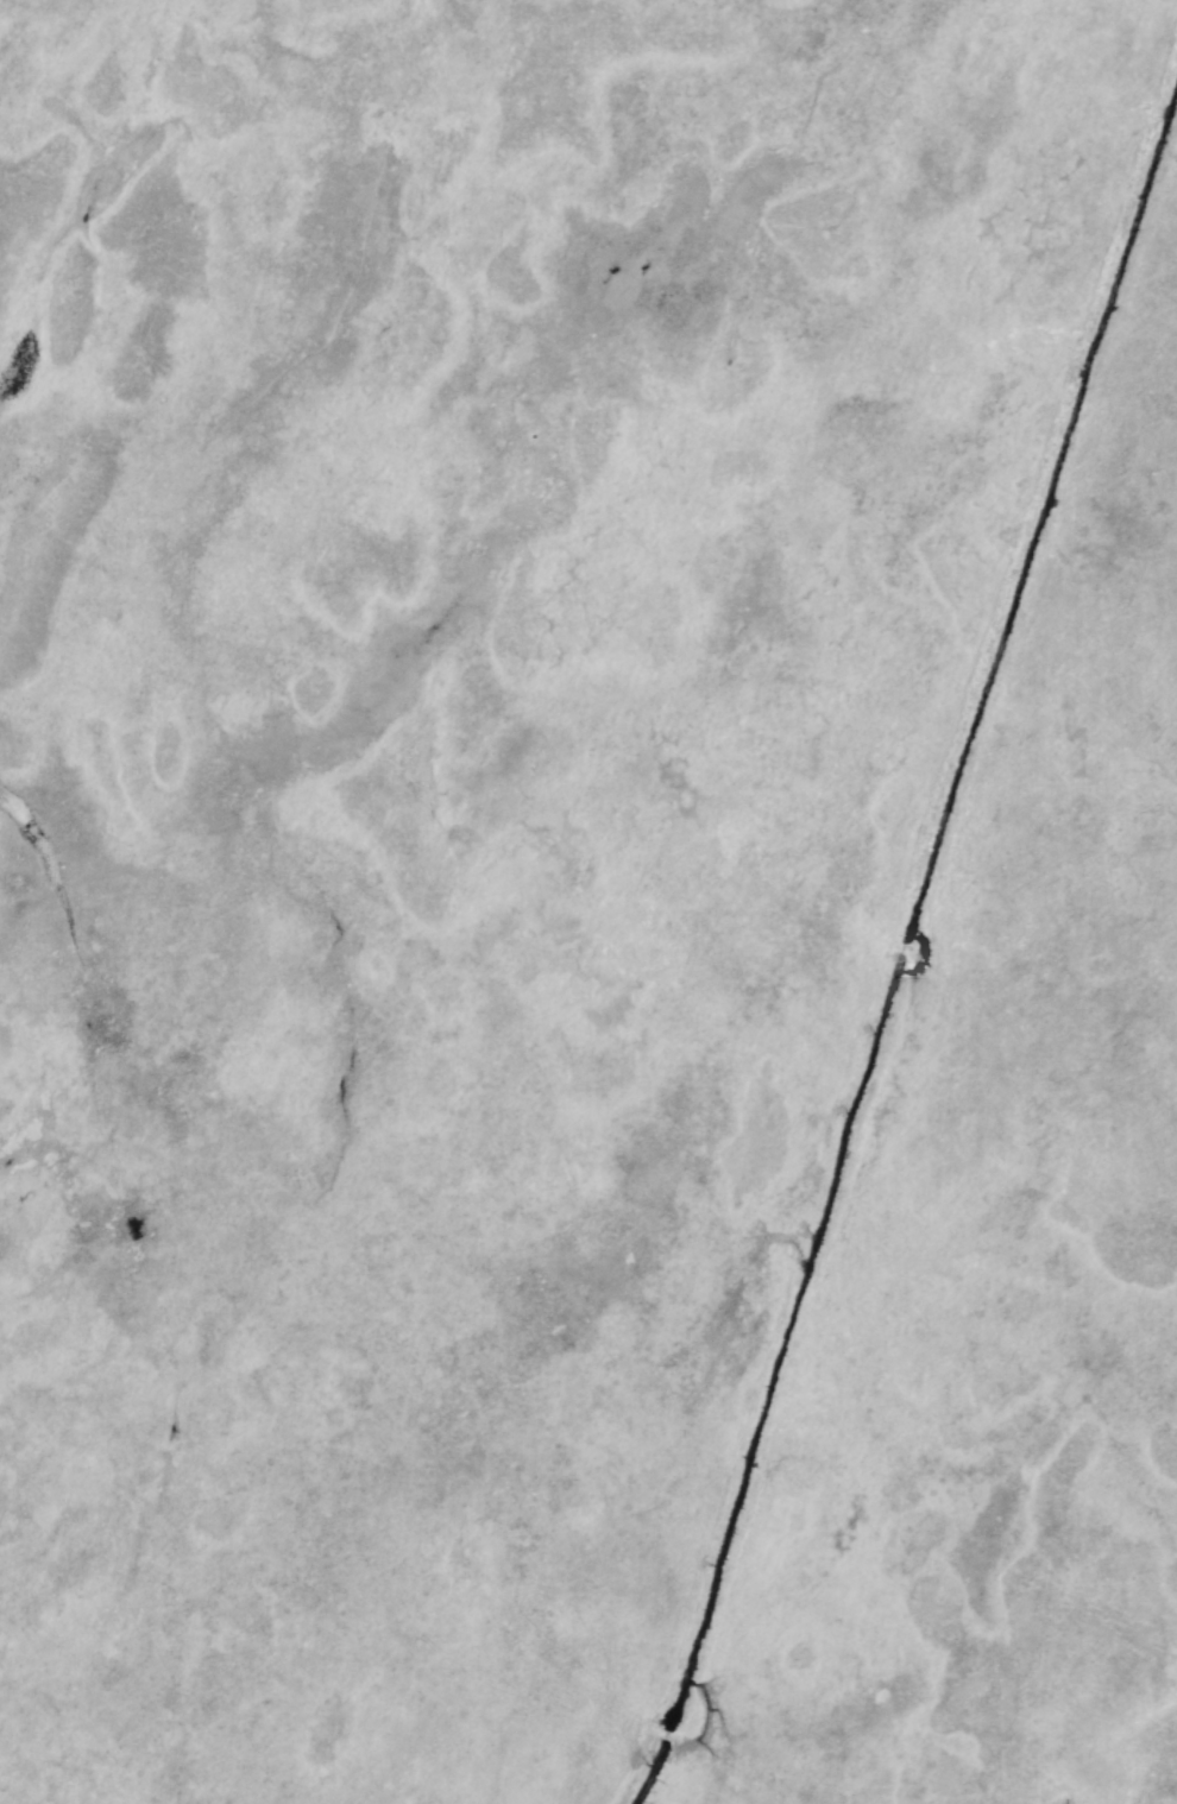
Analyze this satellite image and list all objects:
crop: (317, 947)
crop: (1065, 1286)

